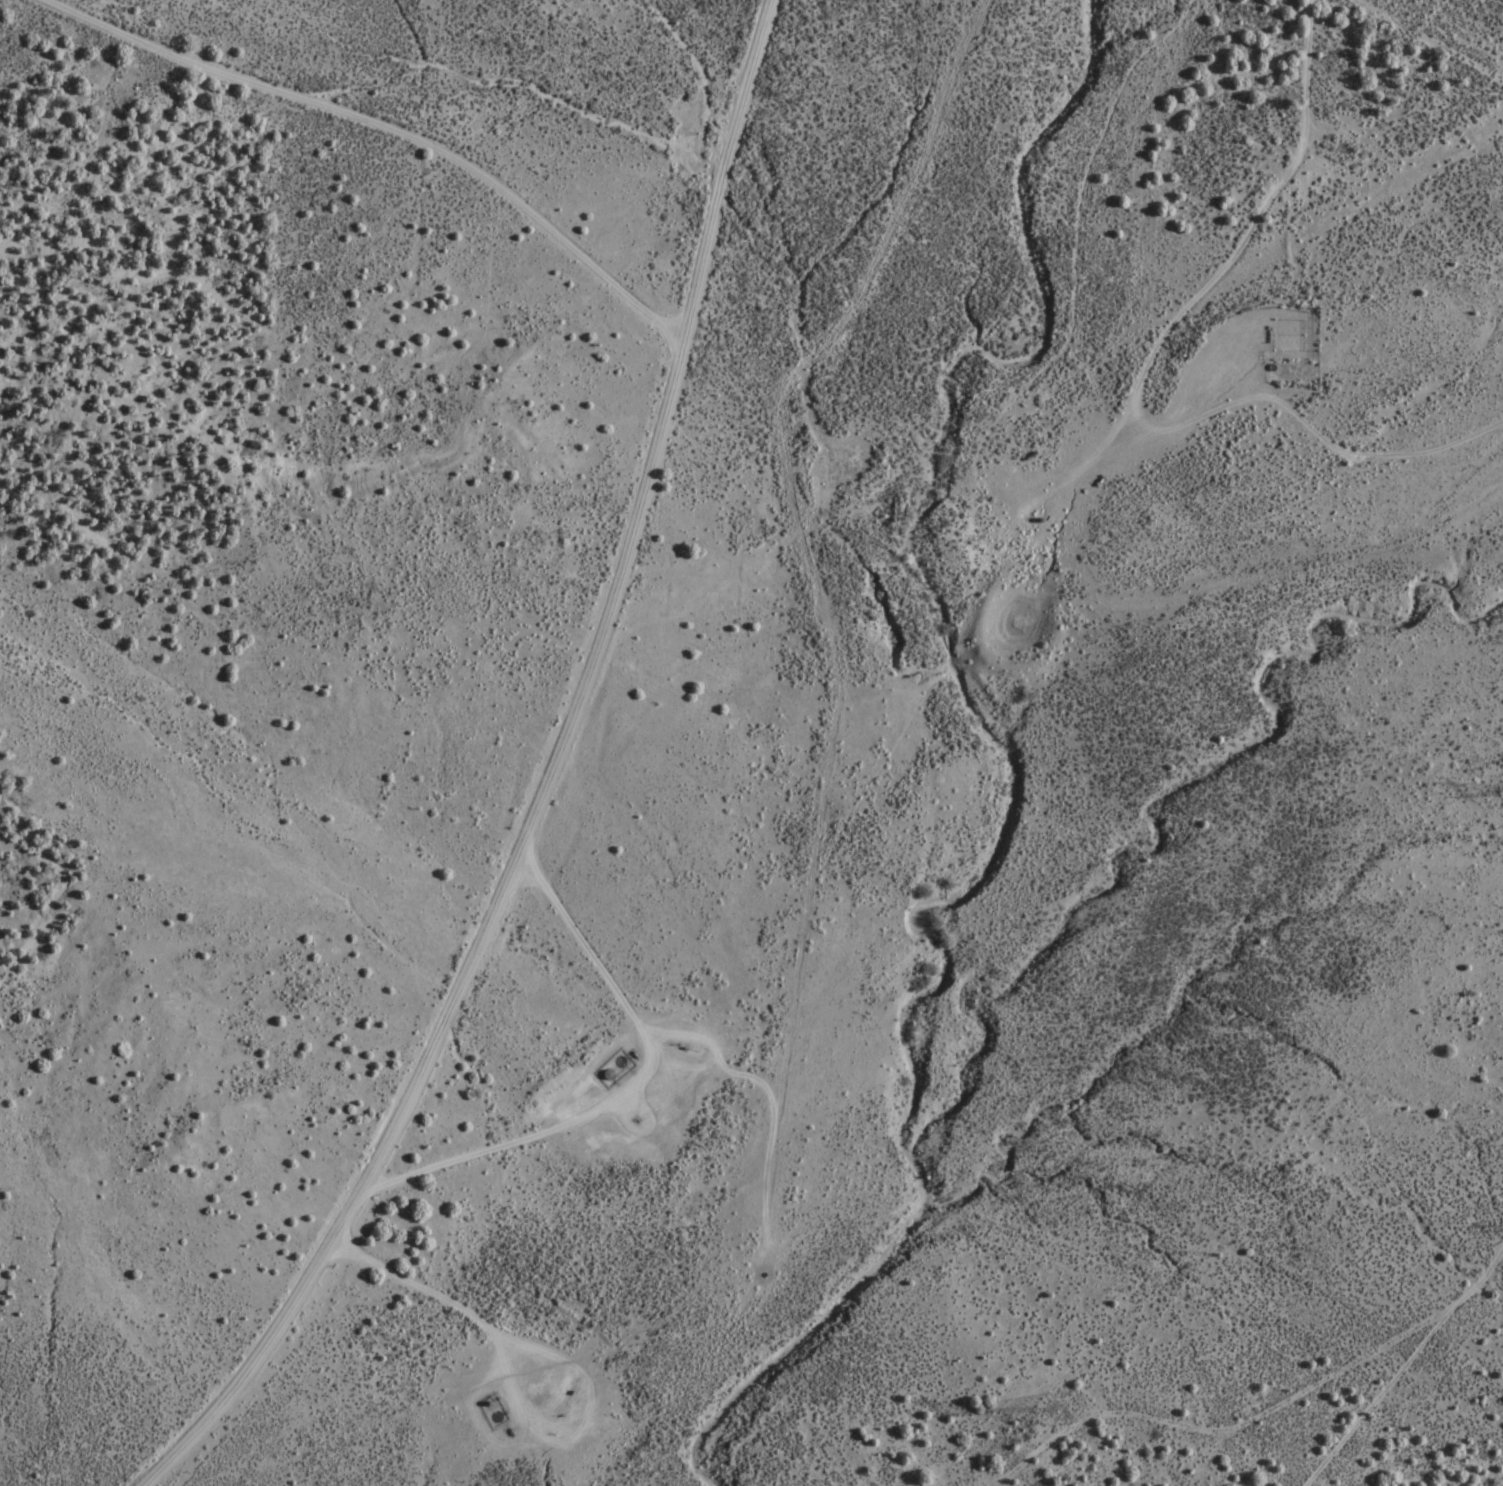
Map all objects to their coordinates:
road: (318, 134)
river: (864, 561)
road: (801, 607)
road: (493, 784)
river: (827, 1294)
power tower: (1058, 1410)

